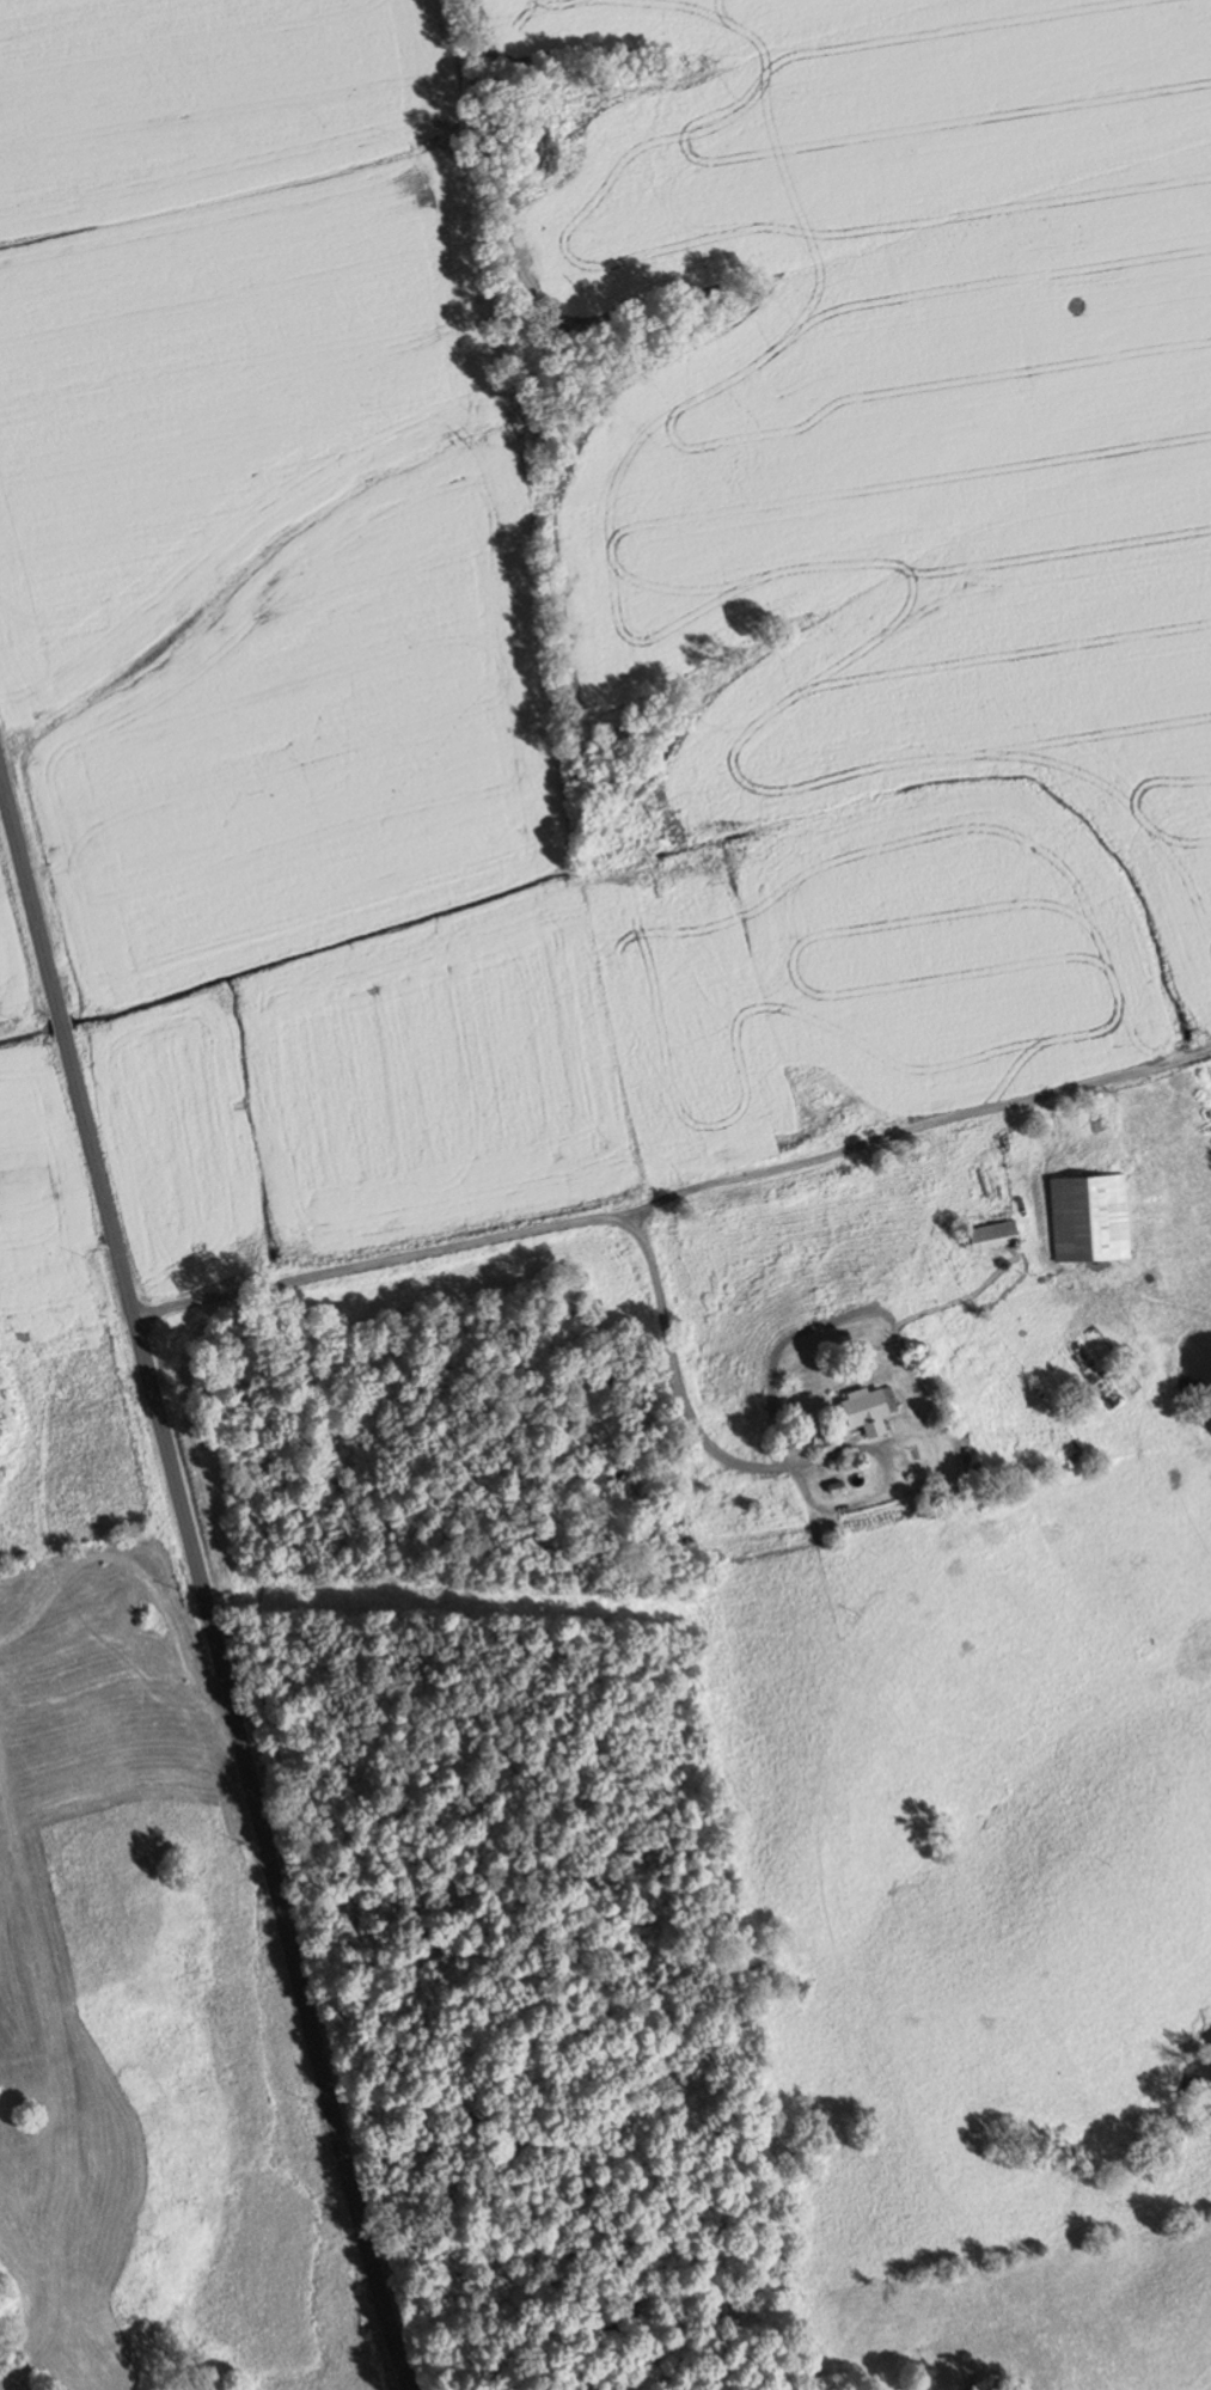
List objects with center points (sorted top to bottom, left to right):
road: (402, 1257)
road: (689, 1405)
road: (200, 1584)
road: (173, 1625)

